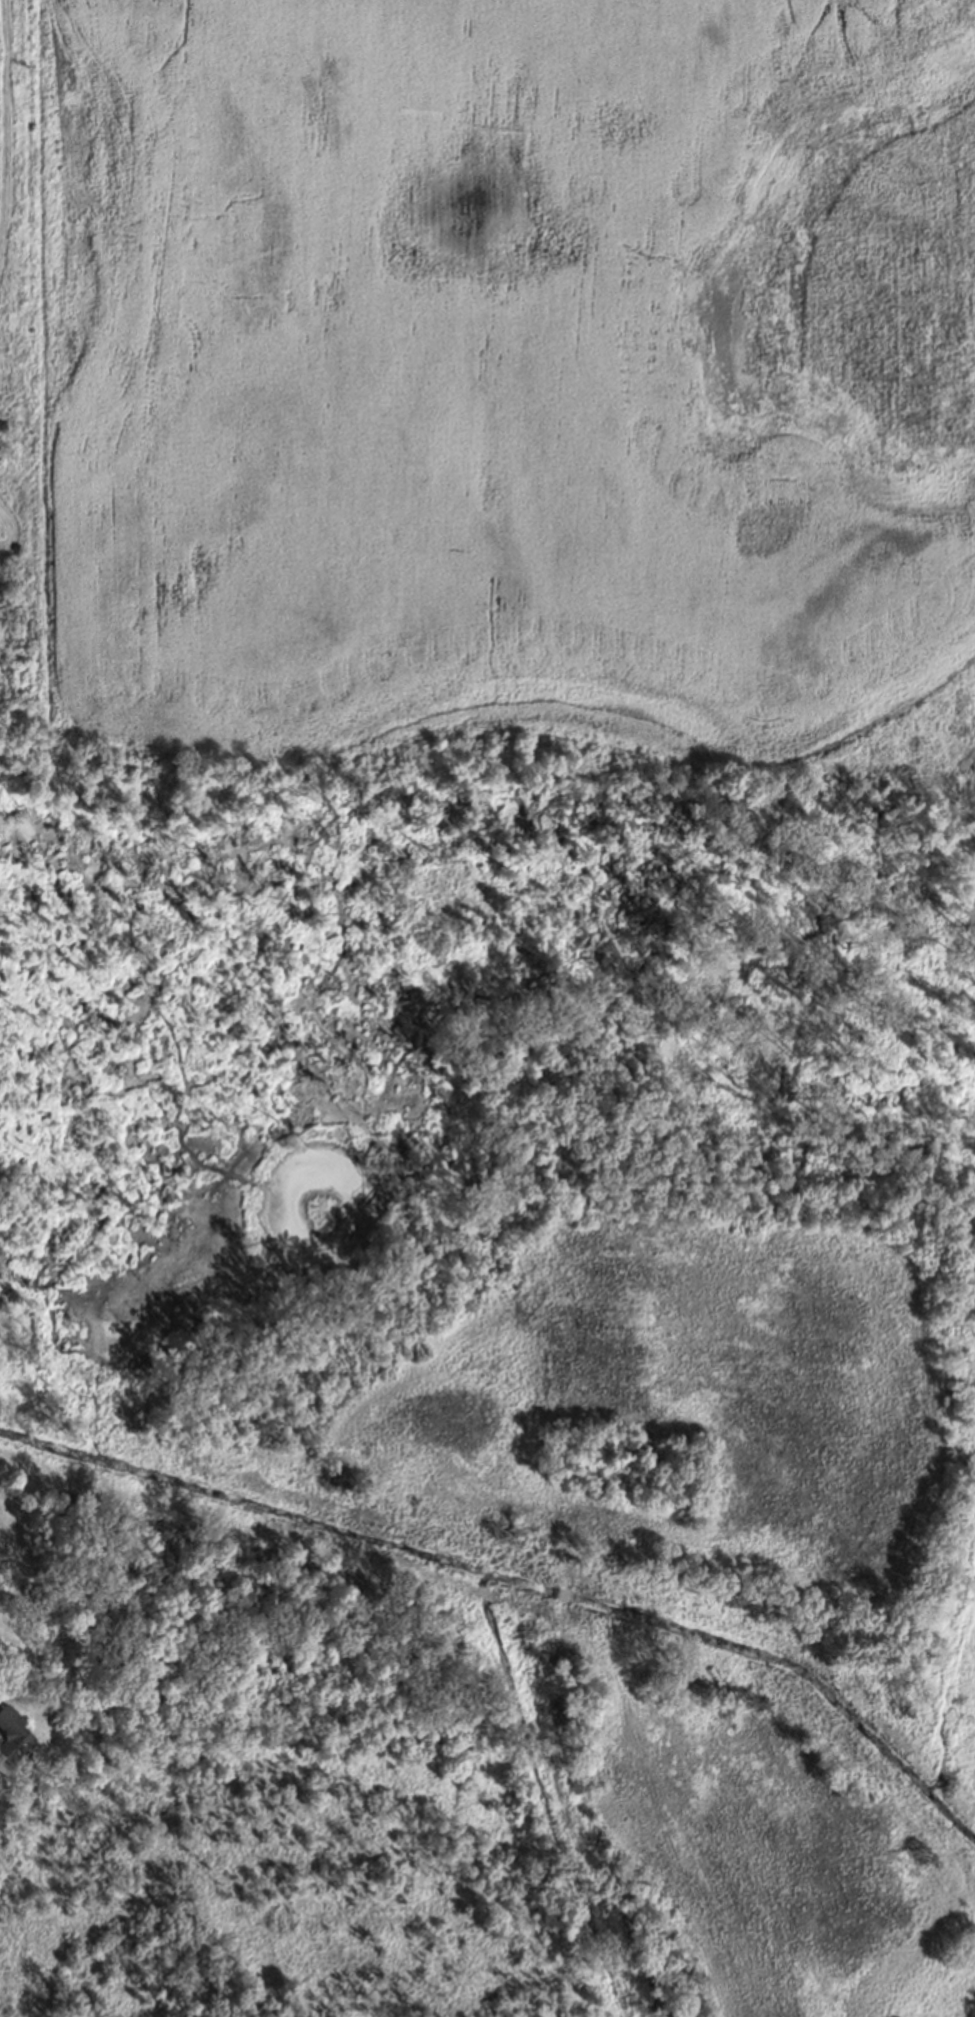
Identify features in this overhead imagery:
building: (12, 1735)

